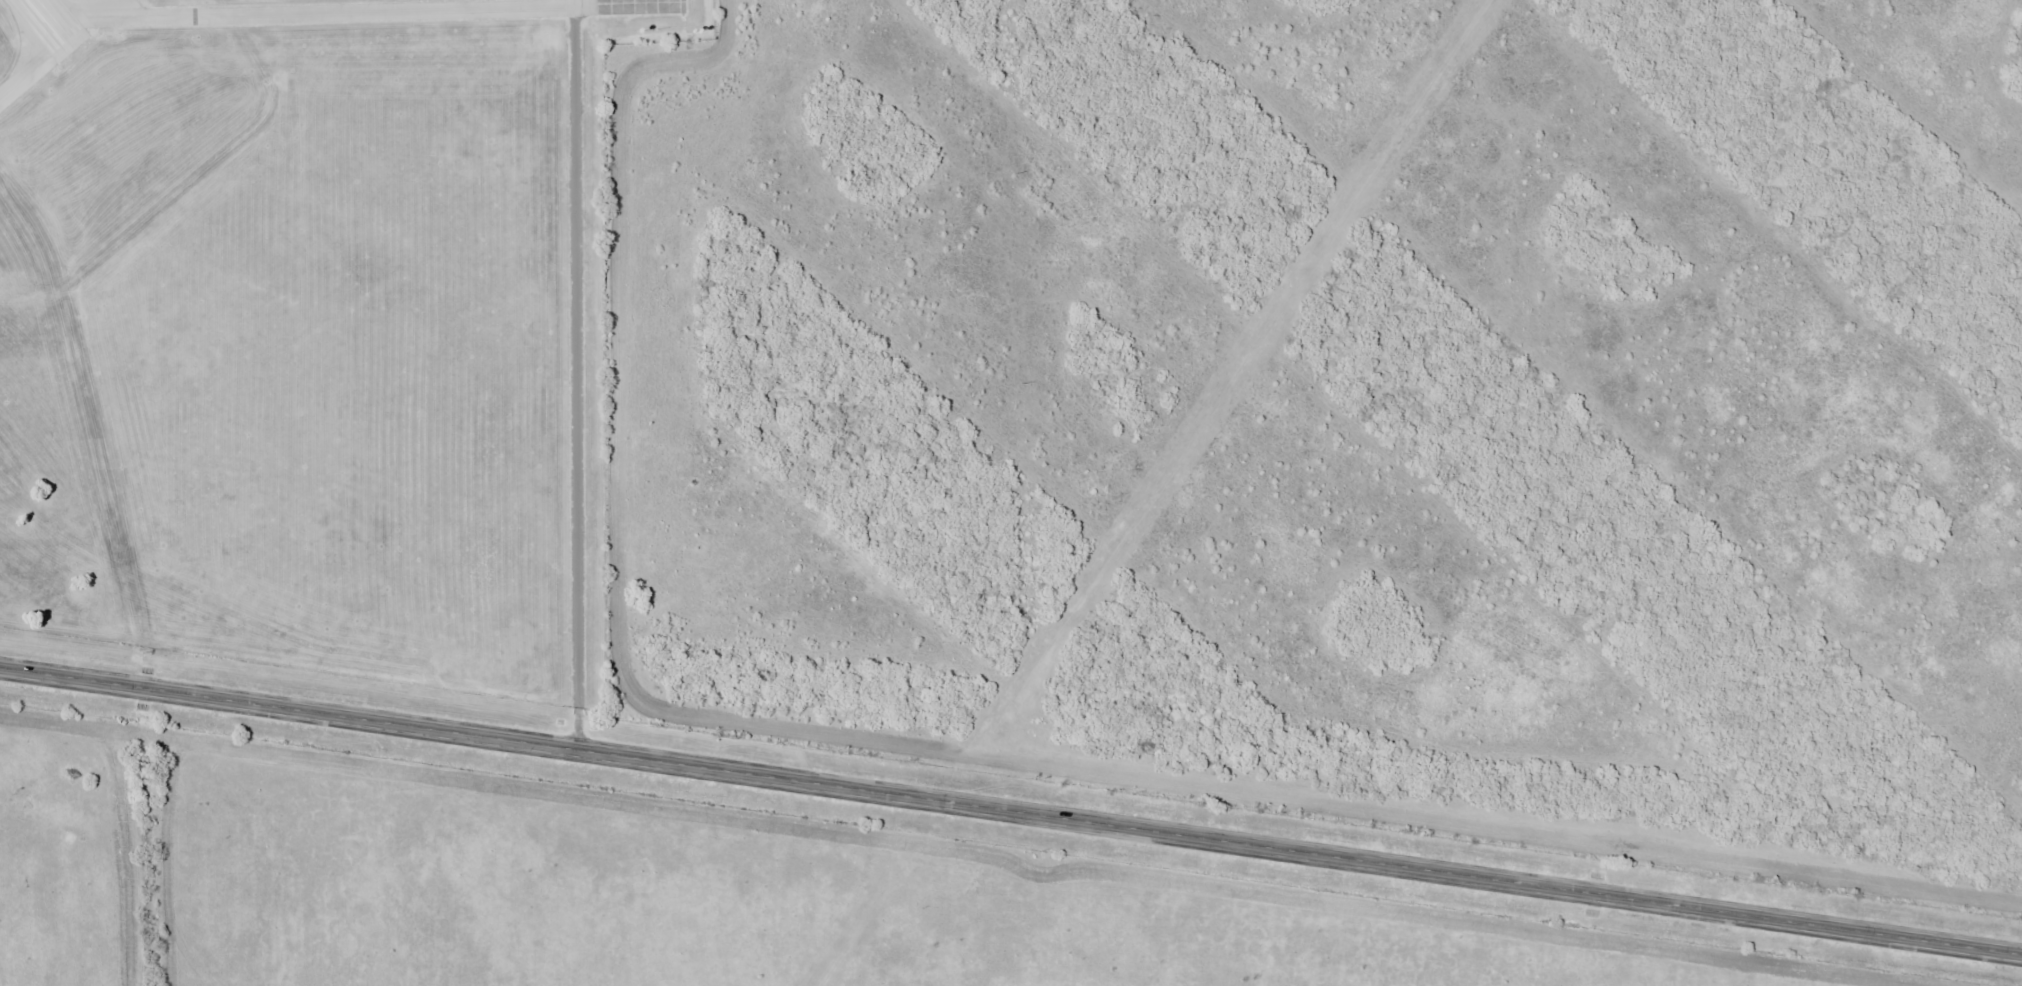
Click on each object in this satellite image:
airport runway: (41, 13)
airport runway: (58, 19)
airport taxiway: (28, 44)
road: (546, 222)
road: (1011, 812)

